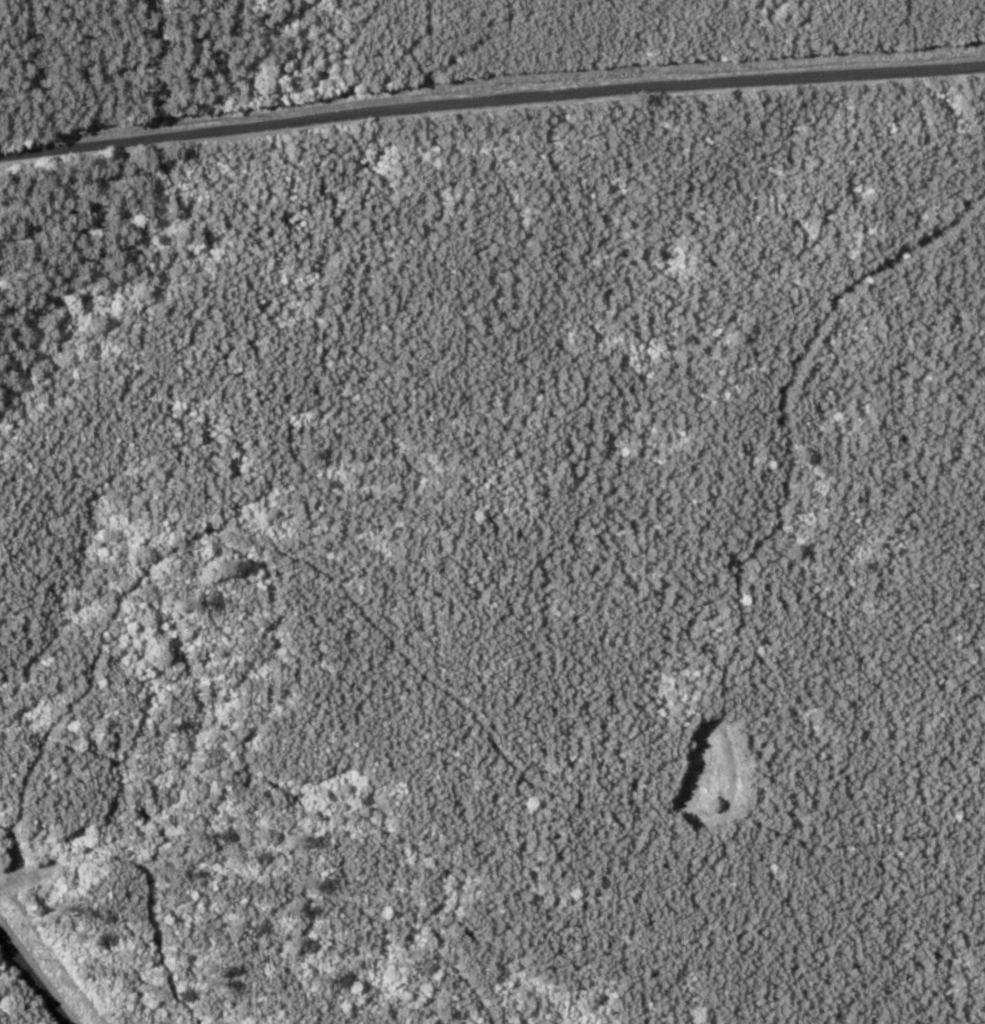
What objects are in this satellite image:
road: (491, 146)
road: (21, 994)

